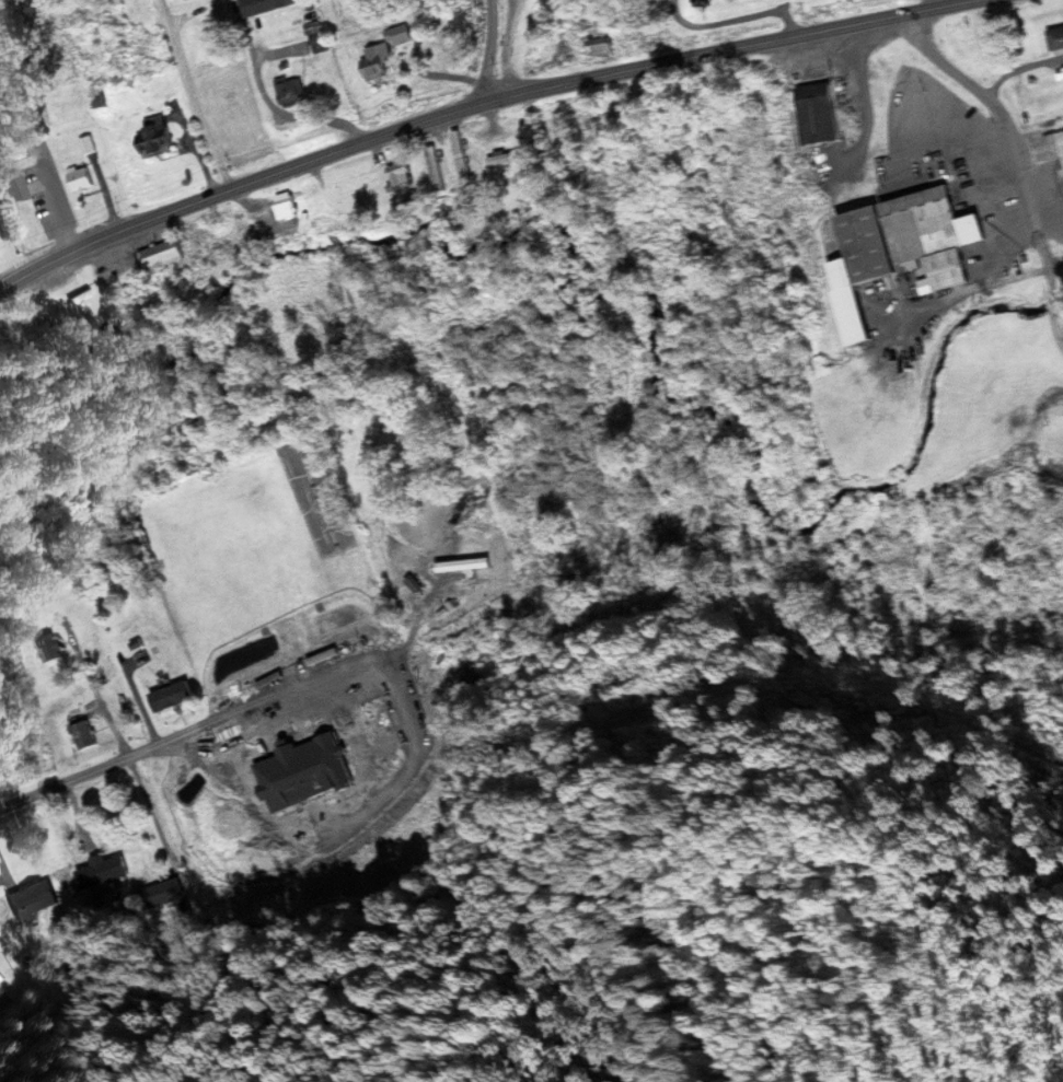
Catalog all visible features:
building: (707, 2)
road: (735, 20)
building: (603, 37)
building: (1058, 37)
building: (323, 38)
building: (390, 50)
road: (493, 51)
road: (600, 75)
building: (294, 90)
road: (197, 95)
road: (266, 101)
building: (825, 113)
building: (159, 137)
building: (510, 156)
road: (1020, 158)
building: (440, 168)
building: (405, 174)
building: (84, 178)
building: (14, 187)
building: (289, 206)
road: (113, 233)
building: (915, 237)
building: (165, 255)
building: (465, 565)
building: (54, 648)
road: (323, 685)
road: (101, 697)
building: (176, 697)
building: (88, 735)
building: (303, 775)
road: (73, 778)
road: (152, 812)
building: (105, 871)
building: (164, 894)
building: (35, 899)

